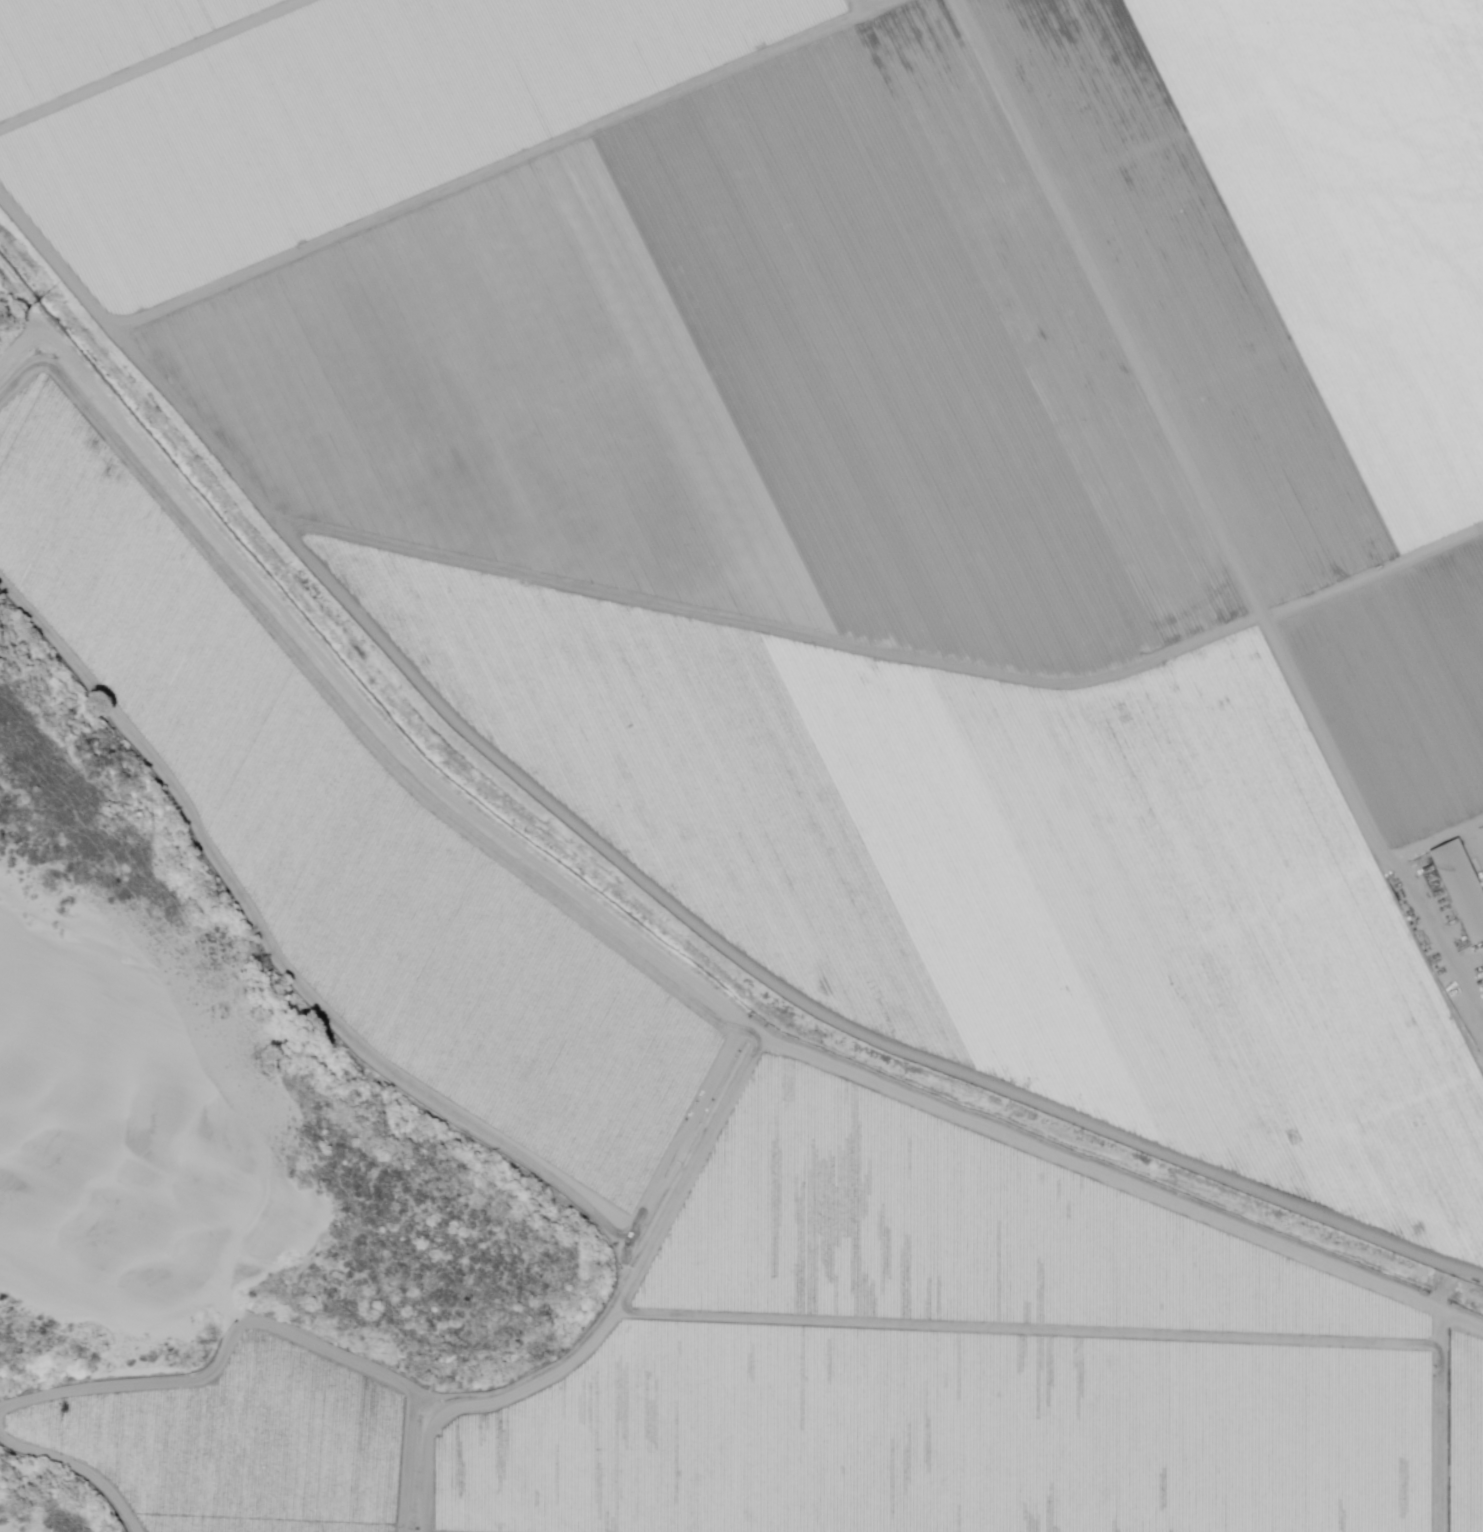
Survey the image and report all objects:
crop: (870, 1)
crop: (88, 36)
crop: (1174, 62)
crop: (341, 120)
crop: (1294, 210)
crop: (600, 253)
crop: (1348, 439)
crop: (731, 446)
crop: (873, 642)
crop: (1404, 687)
crop: (1040, 851)
building: (1459, 886)
crop: (1251, 1033)
crop: (1407, 1177)
crop: (799, 1340)
crop: (1229, 1383)
crop: (1464, 1426)
crop: (305, 1444)
crop: (150, 1449)

